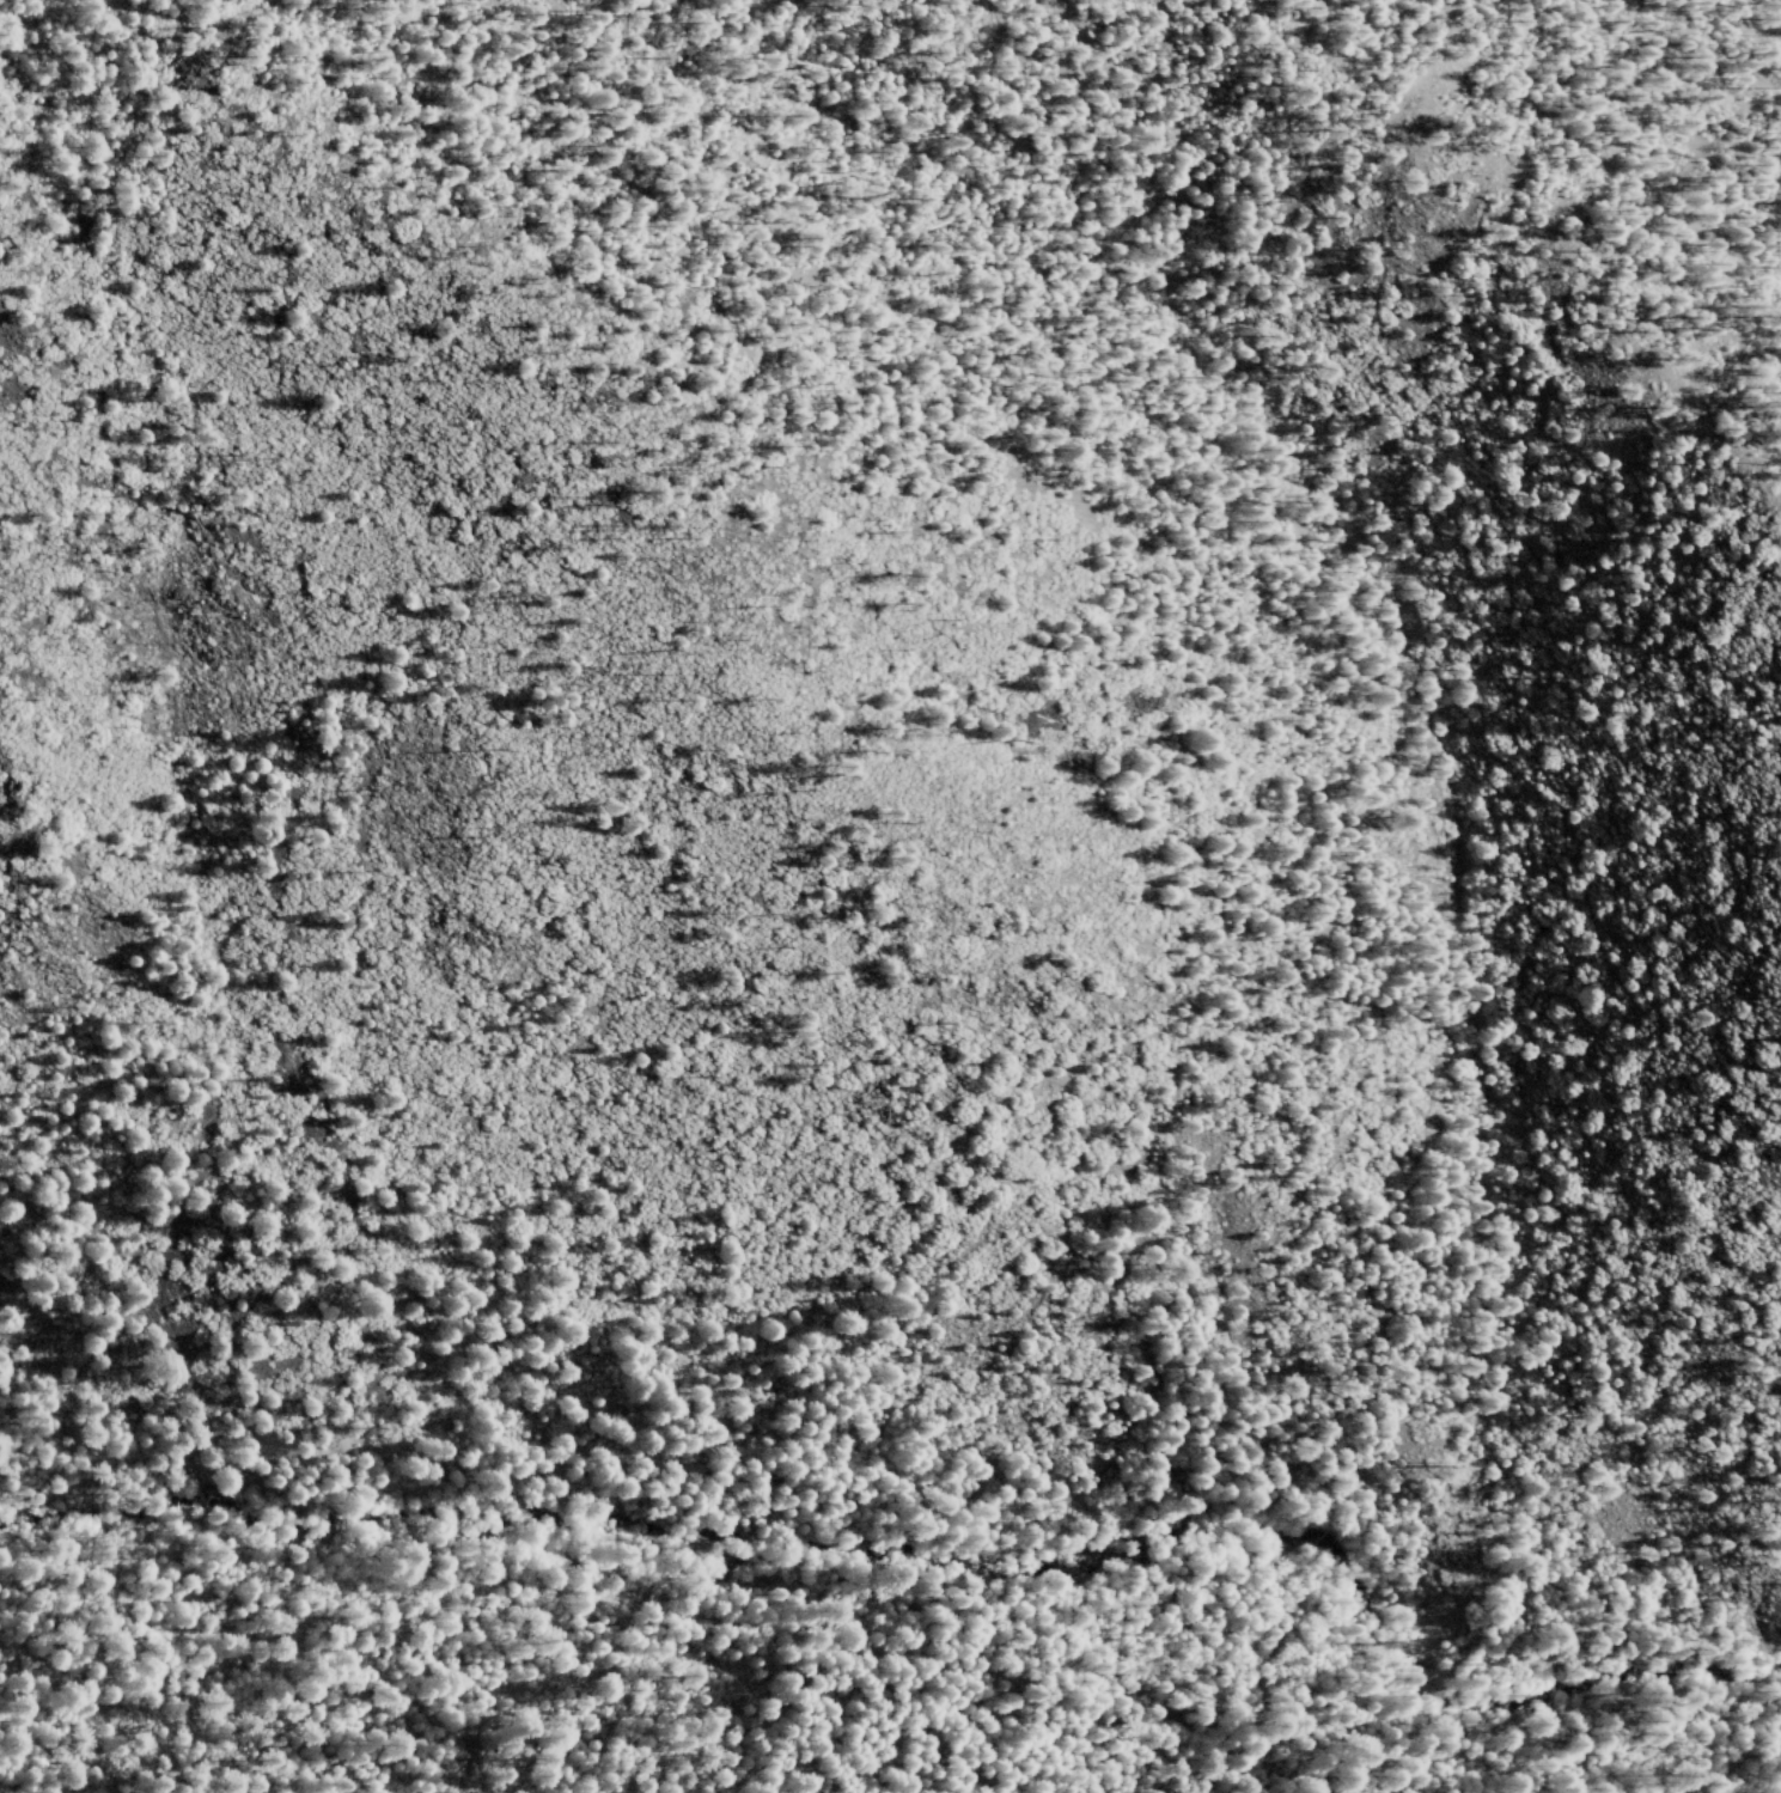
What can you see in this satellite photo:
road: (615, 1578)
road: (1434, 1752)

